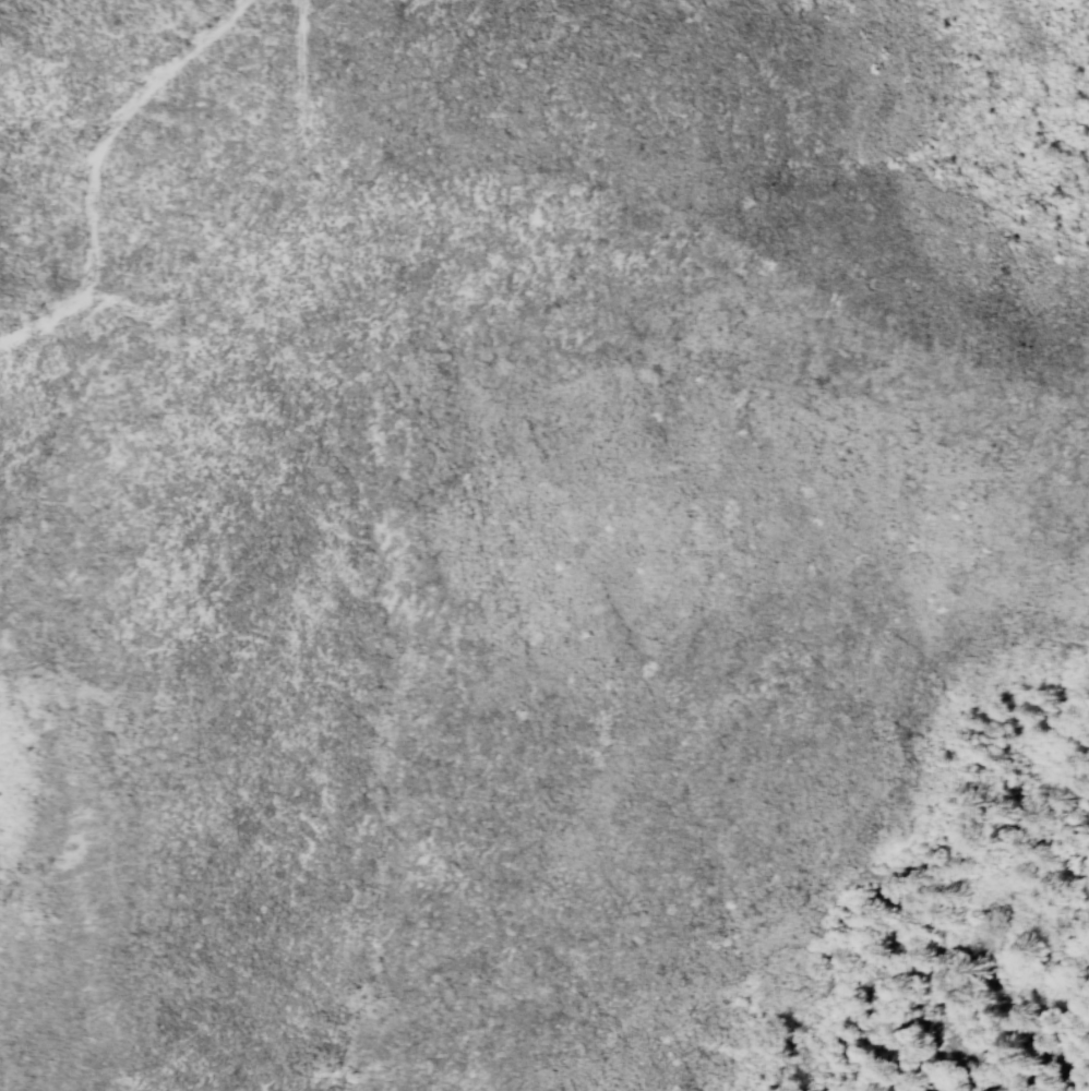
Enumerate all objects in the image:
road: (106, 134)
road: (224, 251)

